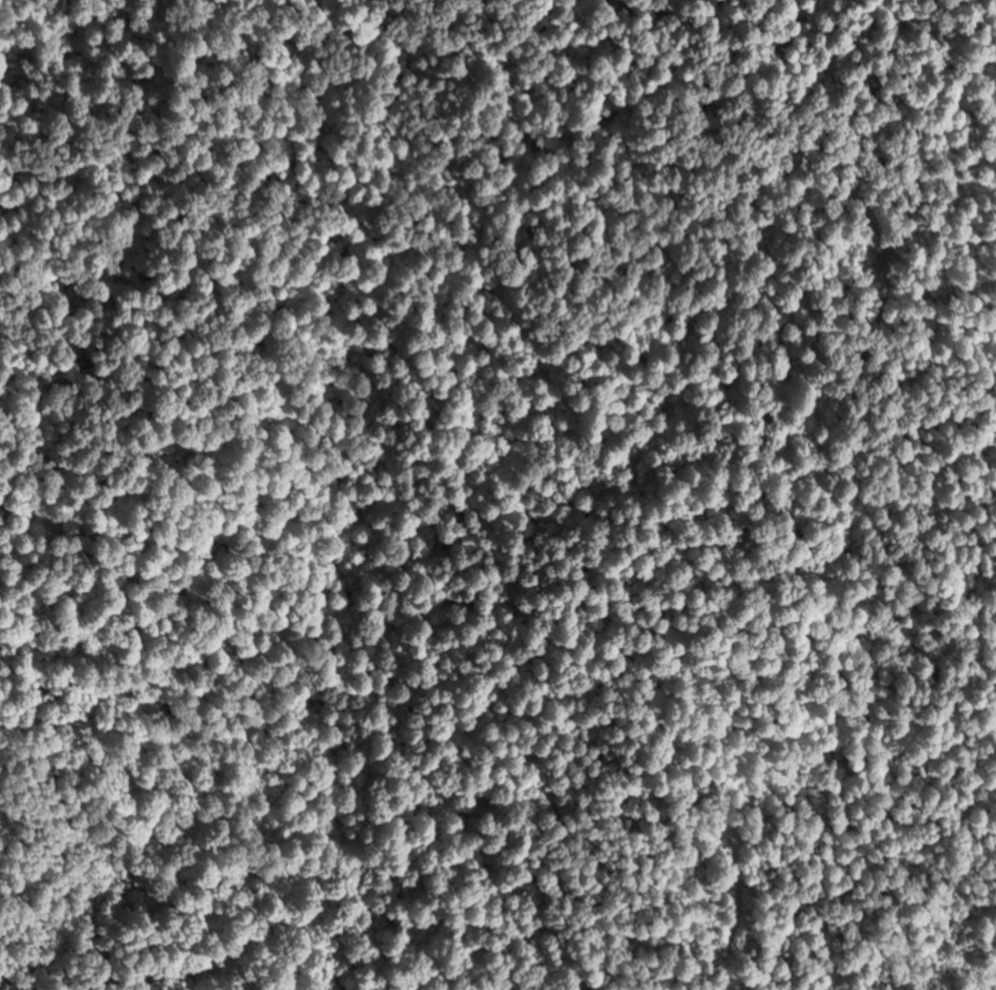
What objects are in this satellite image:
road: (925, 878)

